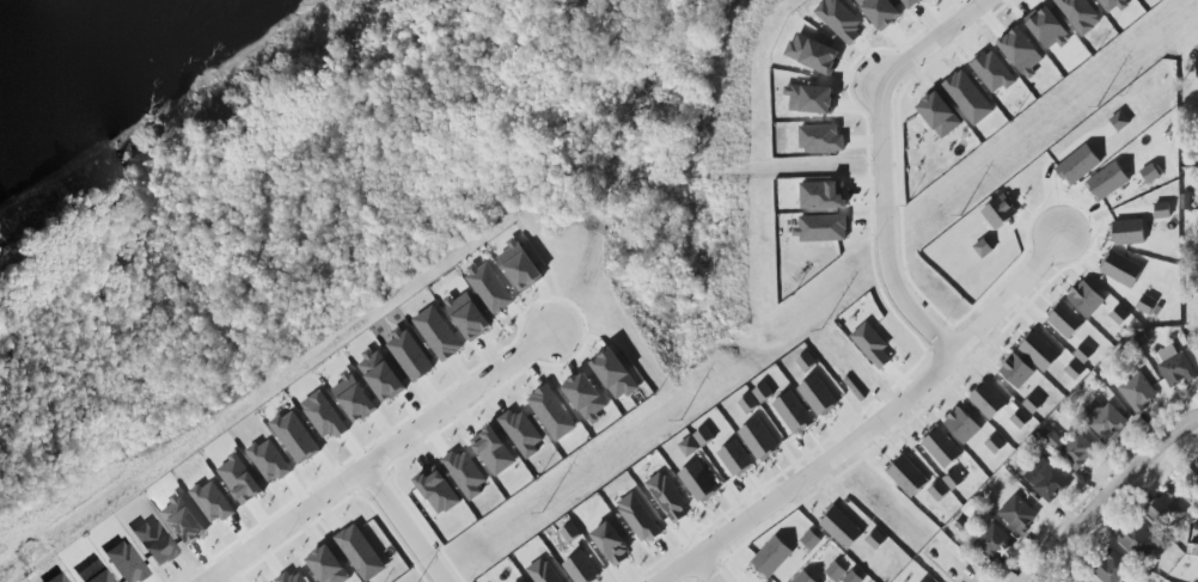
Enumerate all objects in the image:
building: (910, 2)
building: (1116, 5)
building: (881, 13)
building: (1080, 14)
building: (841, 20)
building: (1049, 29)
river: (69, 50)
building: (1022, 53)
building: (813, 54)
building: (1197, 67)
building: (995, 74)
building: (968, 98)
building: (811, 99)
building: (941, 115)
building: (1120, 122)
building: (821, 139)
building: (1078, 164)
road: (876, 165)
building: (1150, 173)
building: (1106, 180)
building: (823, 195)
building: (1162, 210)
building: (1000, 212)
building: (821, 228)
building: (1130, 232)
building: (984, 249)
building: (520, 265)
building: (1121, 269)
building: (489, 287)
building: (1087, 298)
building: (1150, 306)
building: (469, 314)
building: (1120, 315)
building: (1066, 320)
building: (438, 333)
building: (873, 345)
building: (1039, 350)
building: (1084, 353)
building: (409, 354)
building: (1197, 356)
building: (806, 362)
building: (1175, 366)
building: (1017, 370)
building: (1076, 370)
building: (616, 374)
building: (383, 375)
building: (1137, 391)
building: (763, 393)
building: (818, 396)
building: (354, 397)
building: (587, 397)
building: (986, 400)
building: (748, 404)
building: (1033, 404)
building: (552, 412)
building: (794, 412)
building: (324, 416)
building: (1021, 419)
building: (1105, 419)
road: (868, 424)
building: (962, 425)
building: (522, 431)
building: (704, 436)
building: (295, 437)
building: (758, 440)
building: (996, 445)
building: (689, 447)
building: (942, 447)
building: (1071, 448)
building: (494, 451)
road: (369, 458)
building: (735, 458)
building: (270, 460)
building: (465, 473)
building: (906, 474)
building: (240, 479)
building: (954, 479)
building: (697, 482)
building: (1051, 485)
building: (937, 490)
building: (435, 494)
building: (667, 497)
road: (1112, 497)
building: (213, 502)
building: (1165, 510)
building: (1019, 514)
building: (638, 517)
building: (184, 519)
road: (395, 526)
building: (842, 528)
building: (570, 533)
building: (809, 537)
building: (876, 540)
building: (612, 543)
building: (995, 543)
building: (1139, 543)
building: (357, 550)
building: (772, 557)
building: (126, 562)
building: (329, 565)
road: (951, 566)
building: (1112, 568)
building: (581, 569)
road: (698, 571)
building: (836, 571)
building: (94, 572)
building: (543, 572)
building: (805, 577)
building: (854, 577)
building: (57, 578)
building: (925, 581)

